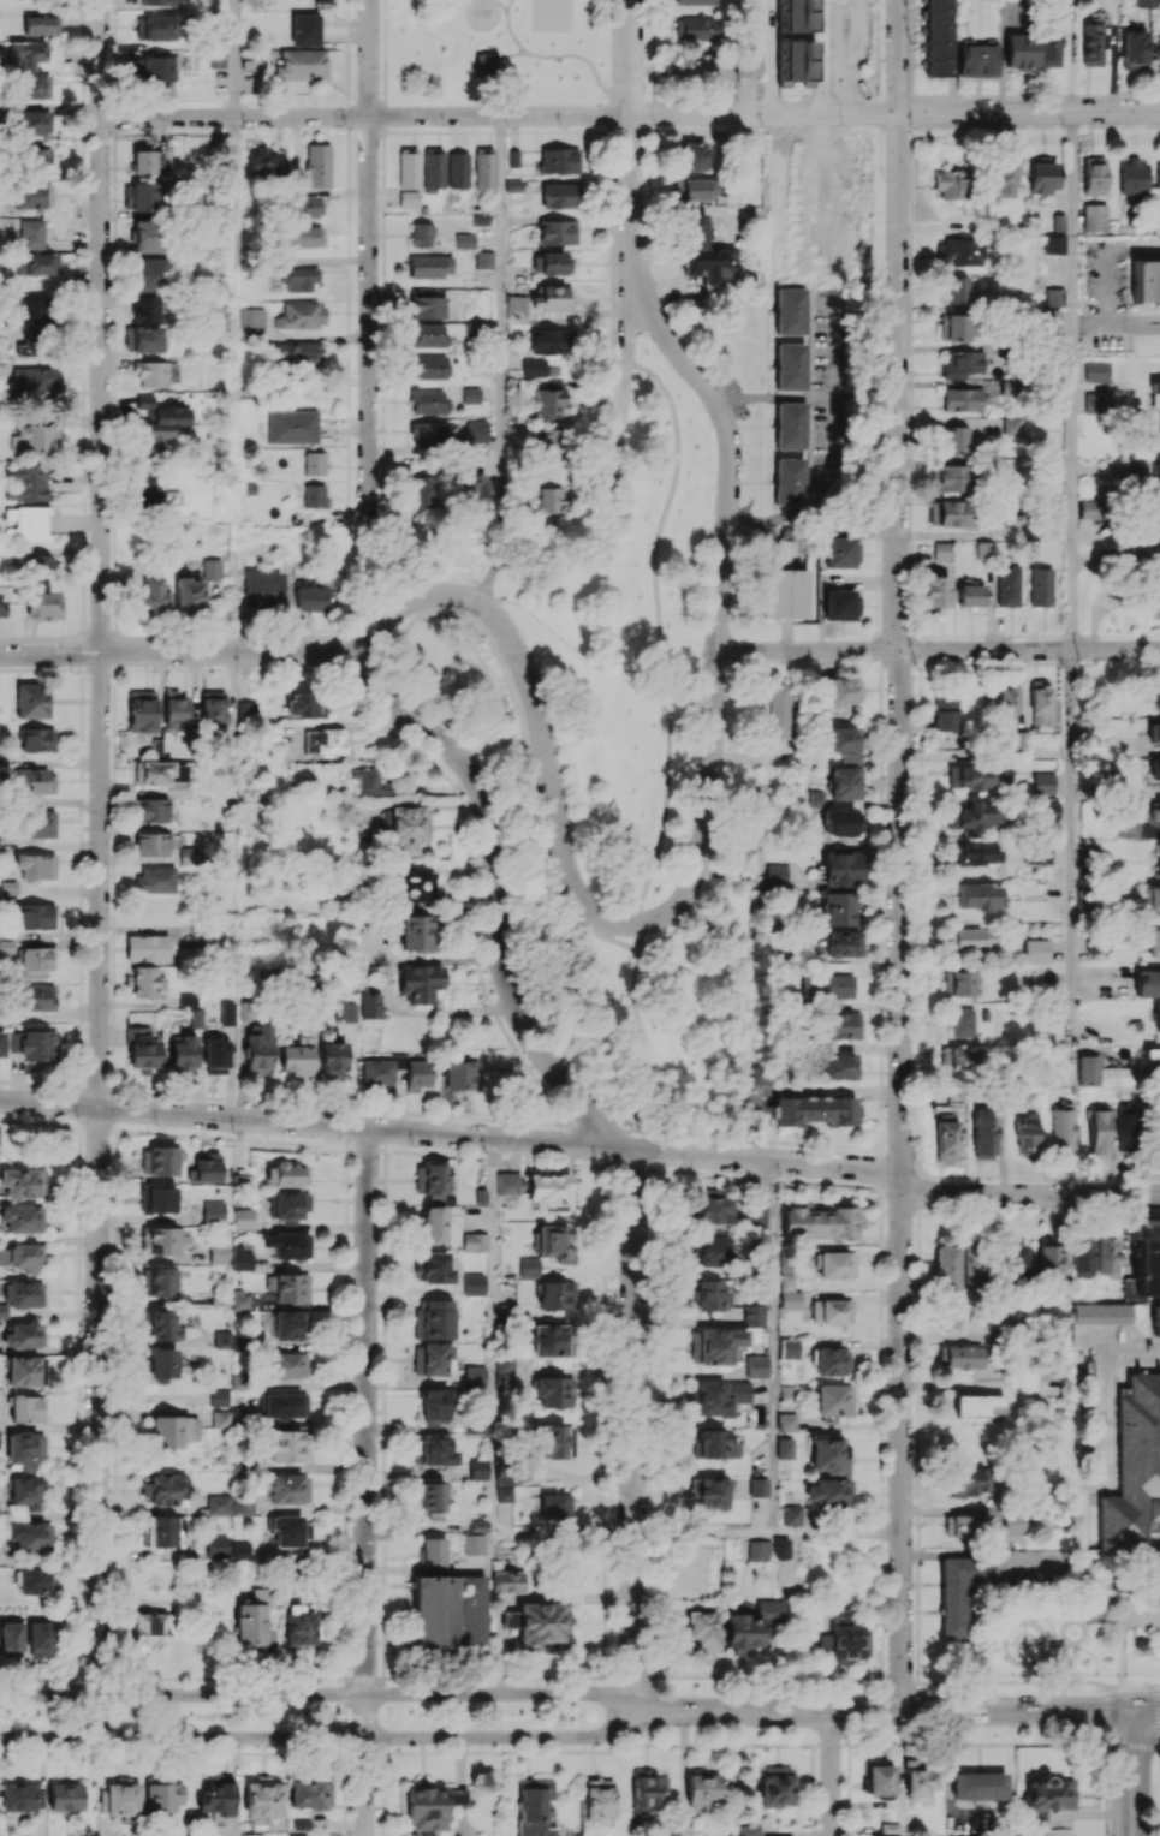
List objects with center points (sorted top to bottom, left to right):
building: (157, 1)
building: (695, 1)
building: (52, 2)
building: (1144, 4)
road: (501, 5)
park: (551, 16)
building: (797, 16)
building: (41, 24)
building: (156, 28)
road: (508, 28)
building: (696, 28)
building: (303, 30)
building: (936, 36)
building: (1091, 40)
building: (1047, 46)
building: (1159, 47)
building: (1132, 48)
building: (1018, 49)
park: (498, 52)
building: (26, 54)
road: (565, 55)
road: (346, 58)
road: (385, 58)
road: (632, 58)
building: (797, 60)
building: (976, 60)
building: (484, 62)
building: (301, 64)
building: (695, 65)
building: (746, 65)
building: (249, 66)
building: (157, 68)
building: (32, 85)
road: (631, 115)
building: (29, 121)
road: (234, 121)
building: (692, 155)
building: (34, 159)
building: (266, 159)
building: (559, 160)
building: (142, 161)
building: (751, 162)
building: (317, 165)
building: (410, 168)
building: (434, 168)
building: (458, 169)
building: (483, 169)
building: (1093, 175)
building: (1003, 177)
building: (1041, 177)
building: (1132, 177)
building: (1158, 177)
building: (950, 184)
road: (632, 187)
road: (612, 189)
building: (700, 189)
building: (31, 195)
building: (559, 195)
building: (142, 197)
building: (408, 199)
building: (307, 207)
building: (1094, 216)
building: (31, 232)
building: (557, 232)
building: (421, 234)
building: (145, 236)
building: (299, 236)
building: (464, 240)
building: (1054, 244)
building: (703, 251)
building: (959, 251)
road: (368, 257)
building: (483, 260)
building: (553, 262)
building: (36, 264)
building: (429, 266)
parking lot: (1110, 268)
building: (147, 274)
building: (299, 279)
building: (1146, 282)
building: (956, 290)
building: (554, 297)
building: (1053, 297)
building: (427, 306)
building: (516, 306)
building: (144, 309)
building: (32, 310)
building: (790, 310)
road: (500, 312)
building: (301, 315)
building: (1048, 318)
road: (1120, 322)
building: (252, 323)
road: (1076, 323)
building: (954, 327)
building: (428, 335)
building: (142, 339)
building: (548, 340)
parking lot: (1106, 341)
building: (960, 363)
building: (428, 366)
building: (533, 366)
building: (790, 366)
building: (1095, 370)
road: (625, 372)
road: (1069, 380)
building: (34, 382)
building: (1154, 394)
building: (470, 395)
road: (773, 395)
building: (143, 399)
building: (963, 399)
building: (428, 401)
building: (1096, 401)
building: (547, 403)
building: (162, 422)
building: (292, 425)
building: (790, 425)
building: (1009, 425)
building: (475, 431)
building: (1159, 431)
building: (428, 433)
building: (35, 439)
building: (956, 439)
building: (549, 443)
road: (834, 445)
building: (314, 463)
building: (1132, 472)
building: (1158, 473)
building: (948, 477)
building: (790, 481)
building: (25, 483)
building: (471, 490)
building: (422, 491)
building: (147, 494)
building: (316, 495)
building: (549, 500)
building: (950, 513)
building: (1091, 514)
building: (1159, 520)
building: (26, 524)
building: (791, 540)
building: (942, 549)
building: (840, 552)
road: (722, 554)
building: (1158, 554)
building: (40, 566)
building: (210, 570)
road: (480, 574)
building: (1007, 585)
building: (1040, 586)
building: (262, 589)
building: (935, 591)
building: (784, 592)
building: (188, 595)
building: (970, 595)
building: (154, 596)
building: (1154, 597)
building: (311, 598)
building: (1, 604)
building: (42, 604)
building: (840, 606)
road: (659, 632)
road: (189, 639)
road: (369, 648)
road: (938, 650)
road: (184, 652)
road: (589, 658)
building: (841, 691)
building: (31, 699)
building: (1158, 701)
building: (1040, 702)
building: (305, 704)
building: (1006, 704)
building: (213, 708)
building: (780, 710)
building: (946, 710)
building: (141, 711)
building: (174, 711)
road: (338, 725)
park: (600, 729)
building: (1153, 734)
building: (37, 739)
building: (326, 741)
building: (844, 743)
road: (528, 744)
building: (1154, 769)
building: (159, 773)
building: (970, 777)
building: (34, 780)
building: (369, 781)
building: (1041, 782)
building: (845, 783)
building: (815, 799)
building: (151, 810)
building: (1046, 810)
building: (341, 812)
building: (974, 815)
building: (1154, 815)
building: (843, 821)
building: (35, 823)
building: (408, 828)
building: (1128, 828)
building: (151, 844)
road: (1070, 851)
building: (1036, 852)
building: (976, 853)
road: (900, 854)
building: (1159, 862)
building: (35, 865)
road: (100, 868)
building: (843, 868)
building: (777, 872)
building: (155, 878)
building: (412, 884)
building: (8, 887)
building: (980, 895)
building: (1153, 899)
building: (839, 908)
building: (36, 916)
building: (415, 932)
road: (640, 936)
building: (971, 940)
building: (1154, 942)
building: (844, 943)
building: (1097, 944)
building: (6, 946)
building: (147, 948)
building: (1035, 950)
road: (424, 959)
building: (36, 961)
road: (635, 977)
building: (145, 982)
building: (420, 982)
building: (960, 983)
building: (1147, 983)
building: (828, 985)
building: (36, 997)
building: (370, 1006)
road: (453, 1009)
building: (346, 1012)
building: (226, 1013)
building: (195, 1018)
building: (1156, 1018)
building: (962, 1023)
building: (840, 1025)
road: (644, 1030)
building: (1, 1043)
building: (37, 1045)
building: (142, 1049)
building: (257, 1050)
building: (183, 1054)
building: (1152, 1054)
building: (215, 1055)
building: (295, 1059)
building: (331, 1059)
building: (958, 1059)
building: (838, 1063)
building: (375, 1072)
building: (761, 1072)
building: (1101, 1073)
building: (416, 1074)
building: (783, 1074)
building: (460, 1075)
building: (815, 1108)
road: (369, 1110)
building: (1061, 1128)
building: (1125, 1131)
building: (981, 1132)
building: (1025, 1132)
building: (1099, 1132)
building: (945, 1135)
road: (582, 1145)
building: (163, 1161)
building: (203, 1167)
building: (285, 1174)
building: (432, 1181)
building: (23, 1182)
building: (508, 1184)
building: (548, 1190)
building: (156, 1199)
building: (288, 1205)
building: (714, 1210)
building: (213, 1211)
building: (754, 1214)
building: (22, 1217)
building: (243, 1218)
building: (820, 1220)
building: (432, 1223)
building: (162, 1240)
building: (761, 1240)
building: (474, 1241)
building: (557, 1242)
building: (287, 1245)
building: (708, 1250)
building: (218, 1253)
building: (1083, 1254)
building: (1107, 1256)
building: (22, 1257)
building: (240, 1258)
building: (1147, 1258)
building: (1049, 1259)
building: (1013, 1262)
building: (834, 1263)
building: (435, 1268)
building: (528, 1268)
building: (946, 1268)
building: (159, 1282)
building: (472, 1284)
building: (287, 1287)
building: (787, 1287)
building: (1129, 1288)
building: (558, 1295)
building: (712, 1295)
building: (18, 1298)
building: (239, 1300)
building: (831, 1311)
building: (1101, 1312)
building: (754, 1316)
building: (436, 1318)
building: (1155, 1321)
building: (162, 1324)
building: (23, 1335)
building: (548, 1340)
building: (715, 1345)
road: (774, 1346)
building: (789, 1348)
building: (966, 1357)
building: (436, 1358)
building: (831, 1360)
building: (162, 1365)
building: (288, 1365)
building: (504, 1370)
building: (25, 1371)
building: (474, 1376)
building: (554, 1391)
road: (1102, 1393)
building: (720, 1396)
building: (219, 1397)
building: (833, 1400)
road: (493, 1402)
building: (281, 1405)
building: (434, 1406)
building: (978, 1406)
building: (26, 1408)
building: (785, 1421)
building: (173, 1430)
road: (633, 1431)
building: (549, 1441)
building: (713, 1444)
building: (288, 1445)
building: (784, 1448)
building: (25, 1450)
building: (434, 1450)
building: (828, 1454)
building: (477, 1468)
building: (971, 1480)
road: (365, 1482)
building: (1131, 1482)
building: (757, 1486)
building: (286, 1488)
building: (707, 1491)
building: (24, 1492)
building: (827, 1492)
building: (433, 1496)
building: (218, 1504)
building: (242, 1504)
building: (555, 1506)
building: (791, 1514)
building: (962, 1525)
building: (1011, 1528)
building: (288, 1530)
building: (161, 1531)
road: (703, 1533)
road: (837, 1533)
building: (30, 1536)
building: (472, 1543)
building: (216, 1546)
building: (780, 1548)
building: (240, 1549)
building: (757, 1549)
building: (433, 1551)
road: (978, 1554)
building: (706, 1564)
building: (36, 1580)
building: (506, 1581)
building: (959, 1591)
building: (448, 1610)
building: (251, 1616)
building: (1097, 1619)
park: (1078, 1622)
building: (297, 1625)
building: (537, 1626)
building: (147, 1627)
building: (751, 1627)
building: (701, 1629)
building: (10, 1638)
building: (844, 1638)
building: (40, 1639)
building: (1140, 1643)
street lamp: (1147, 1686)
road: (1158, 1686)
road: (1105, 1688)
road: (317, 1694)
road: (1143, 1707)
road: (1105, 1710)
road: (879, 1711)
road: (1159, 1713)
road: (319, 1736)
road: (1105, 1737)
road: (1159, 1742)
road: (1135, 1743)
road: (1128, 1771)
road: (829, 1774)
building: (880, 1780)
building: (918, 1780)
building: (977, 1786)
building: (703, 1788)
building: (777, 1789)
building: (647, 1792)
park: (1155, 1793)
building: (309, 1794)
building: (161, 1795)
building: (454, 1795)
building: (19, 1796)
building: (64, 1796)
building: (216, 1798)
building: (121, 1799)
building: (597, 1799)
building: (1045, 1799)
building: (261, 1800)
building: (533, 1807)
building: (424, 1811)
building: (749, 1830)
building: (667, 1831)
building: (250, 1834)
street lamp: (1148, 1835)

